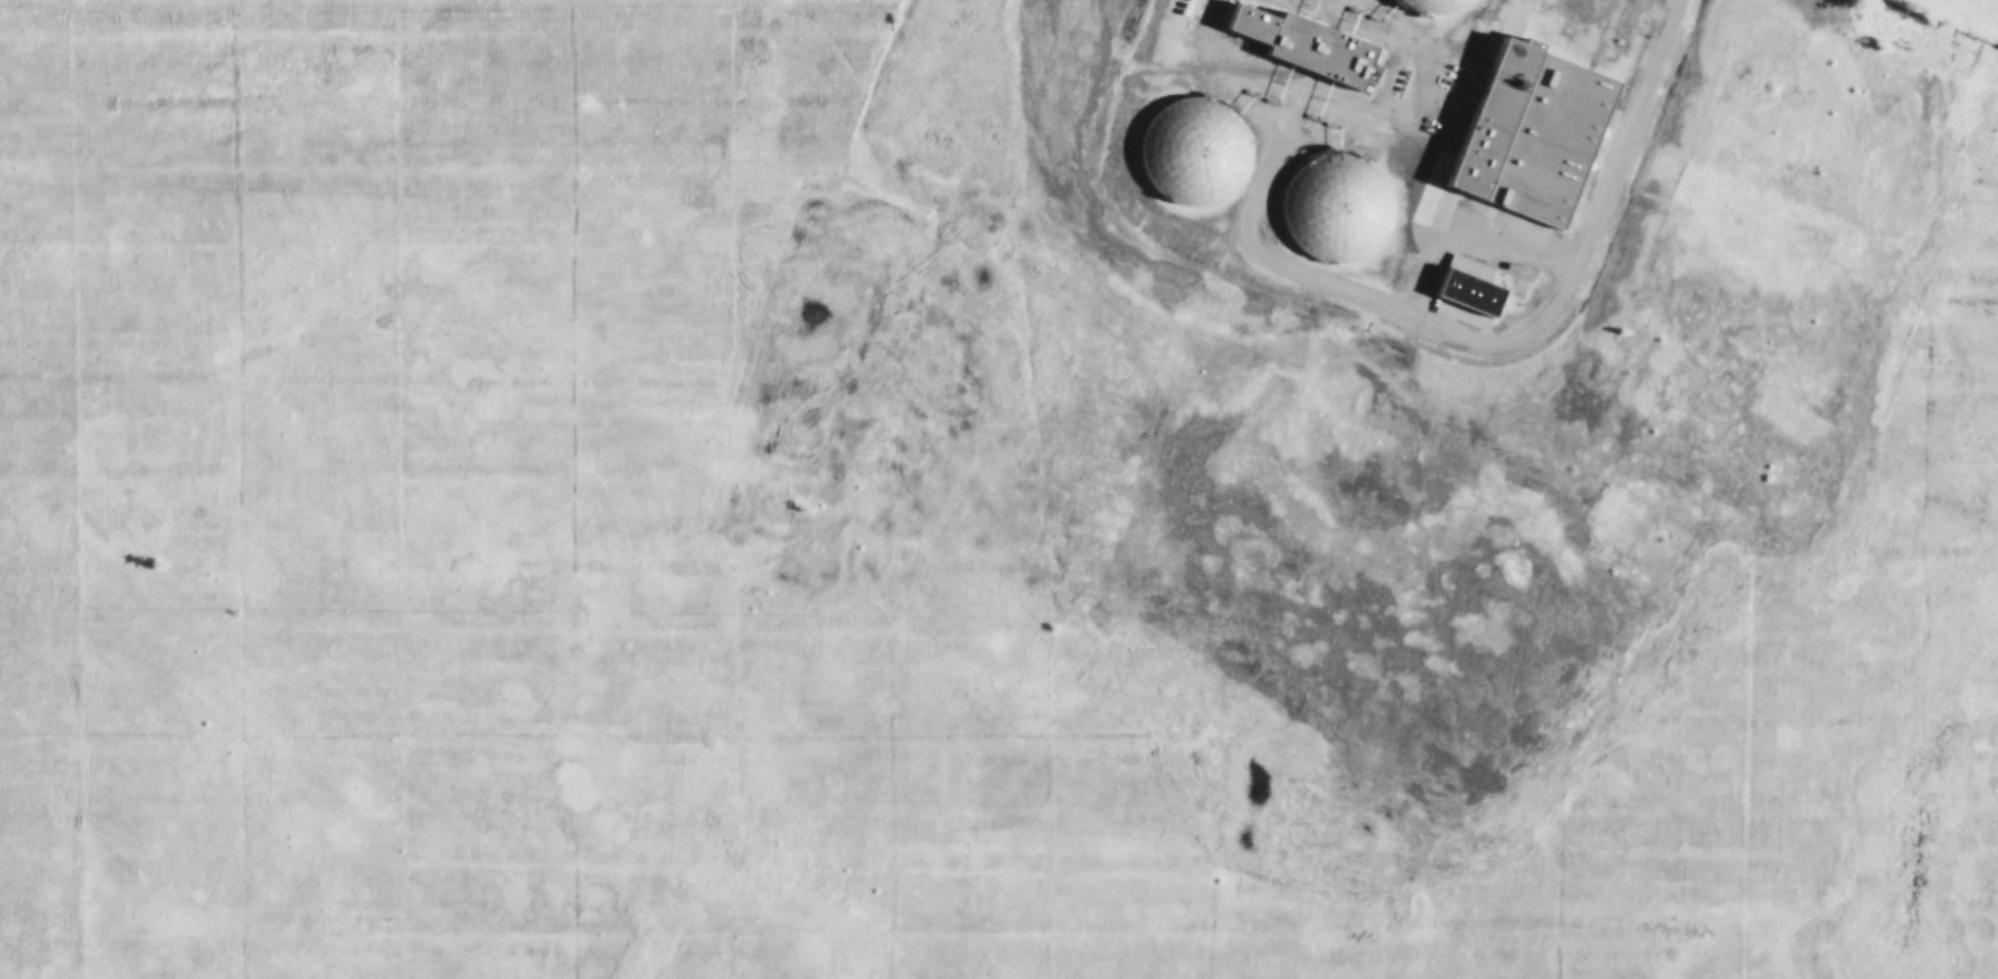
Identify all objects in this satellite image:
building: (1261, 26)
road: (1643, 118)
building: (1537, 134)
building: (1192, 153)
wastewater plant: (1372, 164)
building: (1340, 209)
building: (1474, 296)

